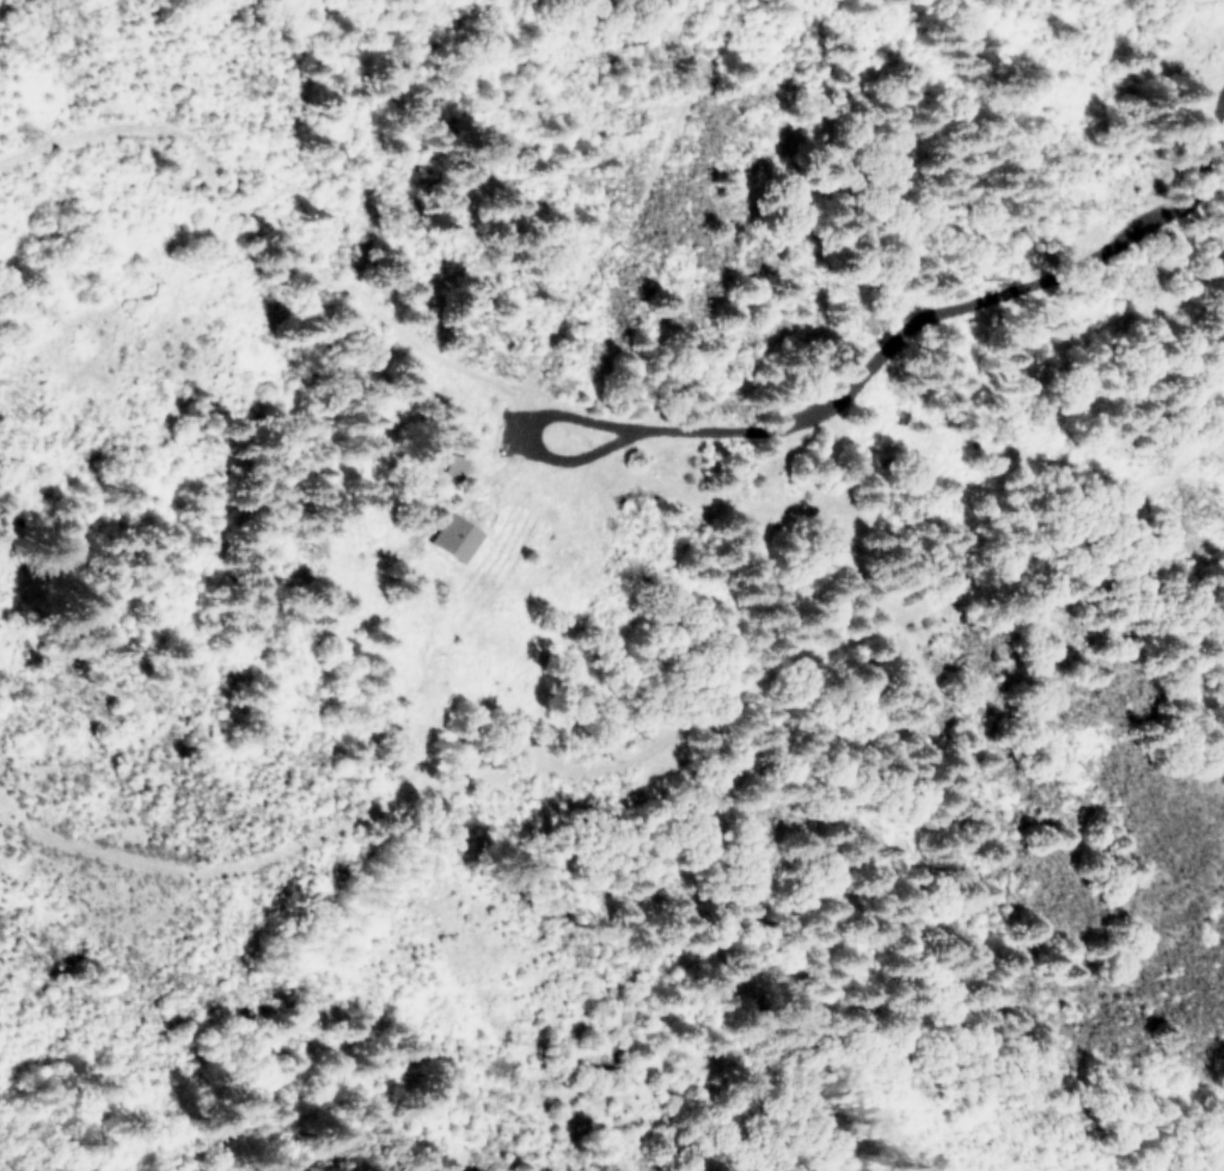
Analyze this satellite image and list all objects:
road: (642, 208)
road: (454, 366)
road: (881, 428)
road: (1076, 534)
building: (457, 537)
road: (460, 787)

